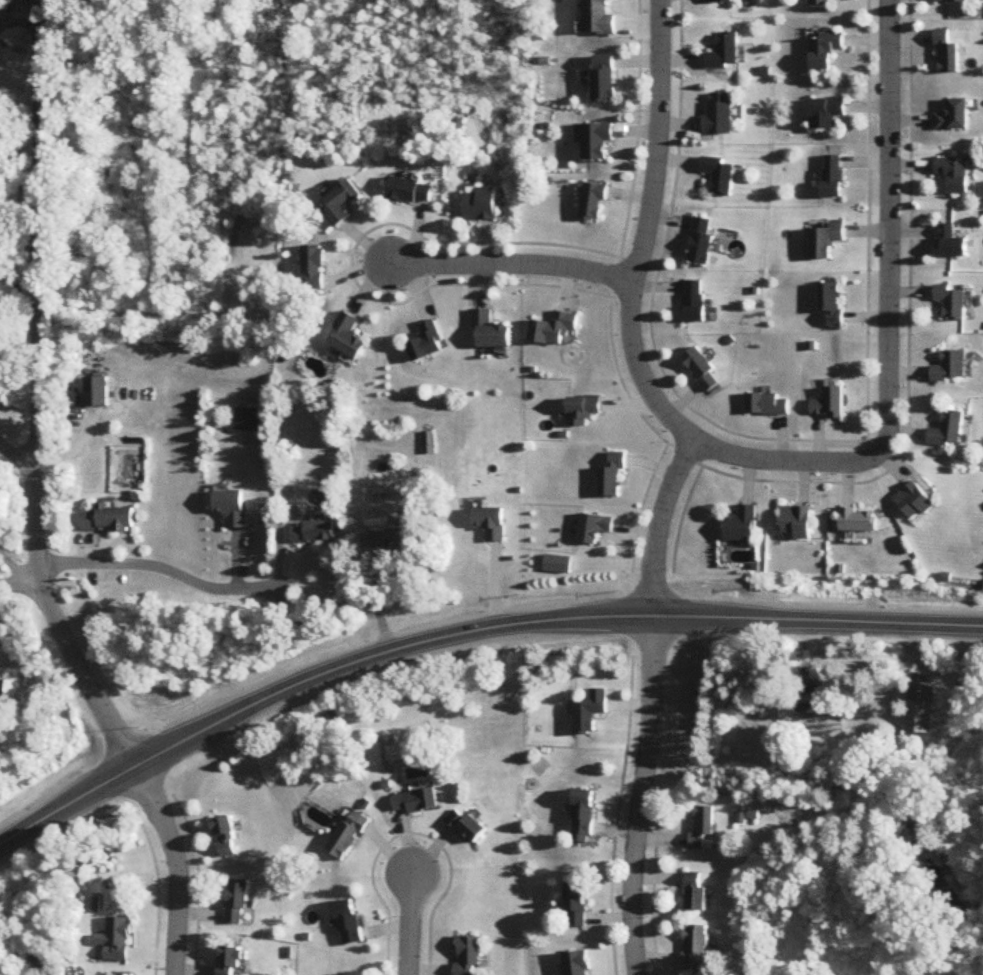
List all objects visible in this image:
building: (720, 2)
building: (951, 2)
building: (821, 3)
road: (7, 9)
building: (599, 18)
building: (825, 50)
building: (725, 53)
building: (946, 55)
building: (604, 79)
building: (826, 114)
building: (719, 116)
building: (952, 118)
building: (597, 143)
building: (720, 176)
building: (953, 177)
building: (833, 178)
building: (411, 193)
building: (342, 203)
building: (594, 203)
building: (482, 205)
road: (647, 230)
building: (701, 242)
building: (826, 242)
building: (949, 244)
road: (511, 267)
building: (313, 269)
building: (694, 302)
building: (832, 302)
building: (952, 302)
road: (886, 329)
building: (554, 330)
building: (491, 333)
building: (348, 339)
building: (429, 344)
building: (952, 368)
building: (702, 370)
building: (96, 392)
road: (39, 395)
building: (768, 404)
building: (831, 404)
building: (581, 415)
building: (248, 420)
building: (949, 430)
road: (19, 462)
building: (613, 476)
building: (915, 502)
building: (232, 507)
building: (110, 519)
building: (859, 520)
building: (797, 522)
building: (492, 523)
building: (742, 525)
road: (659, 526)
building: (594, 529)
building: (314, 532)
building: (393, 540)
road: (162, 568)
road: (12, 569)
road: (20, 585)
road: (467, 633)
building: (4, 692)
building: (811, 695)
building: (922, 707)
building: (590, 712)
road: (642, 795)
building: (416, 802)
road: (883, 804)
building: (584, 816)
building: (468, 826)
building: (703, 827)
building: (226, 837)
building: (346, 837)
road: (179, 866)
building: (696, 894)
building: (240, 902)
building: (576, 904)
building: (350, 923)
road: (411, 925)
building: (118, 941)
building: (695, 950)
road: (28, 952)
building: (469, 955)
building: (235, 961)
building: (575, 963)

